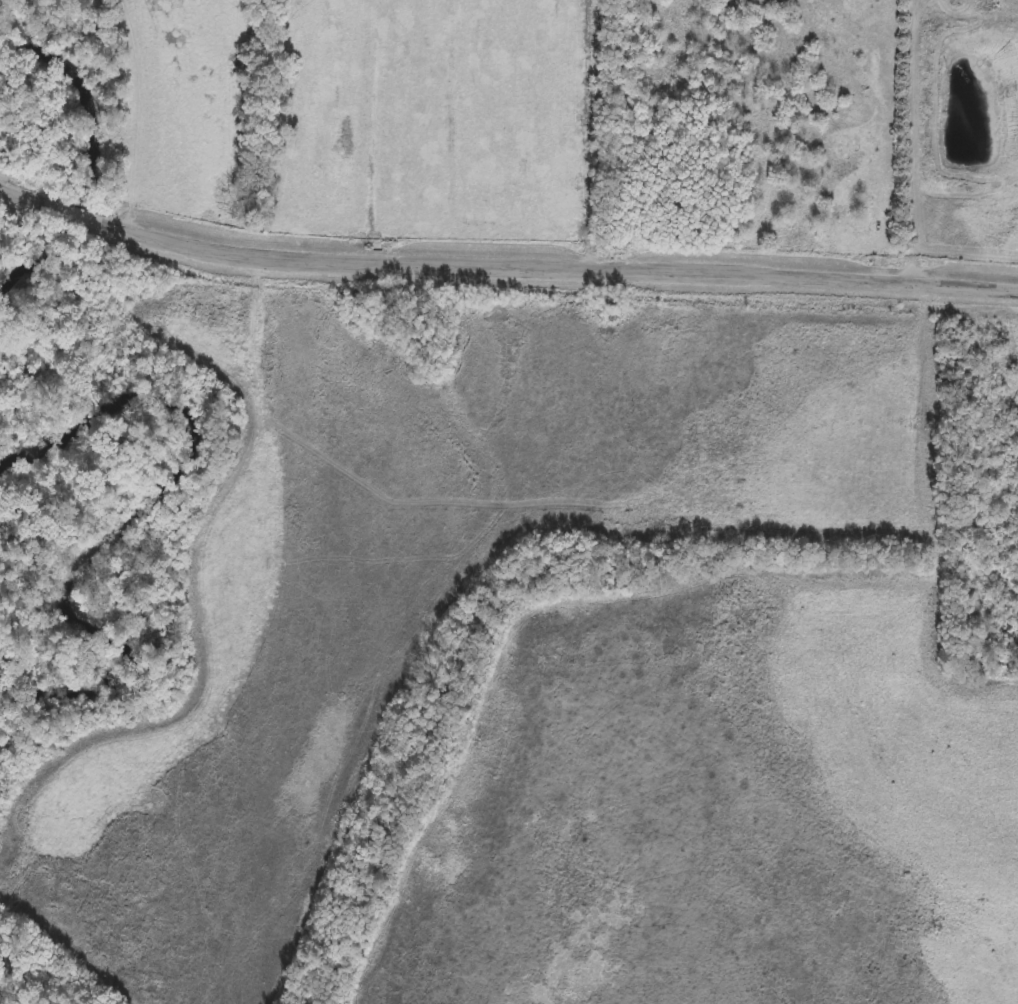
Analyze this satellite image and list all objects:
road: (504, 263)

